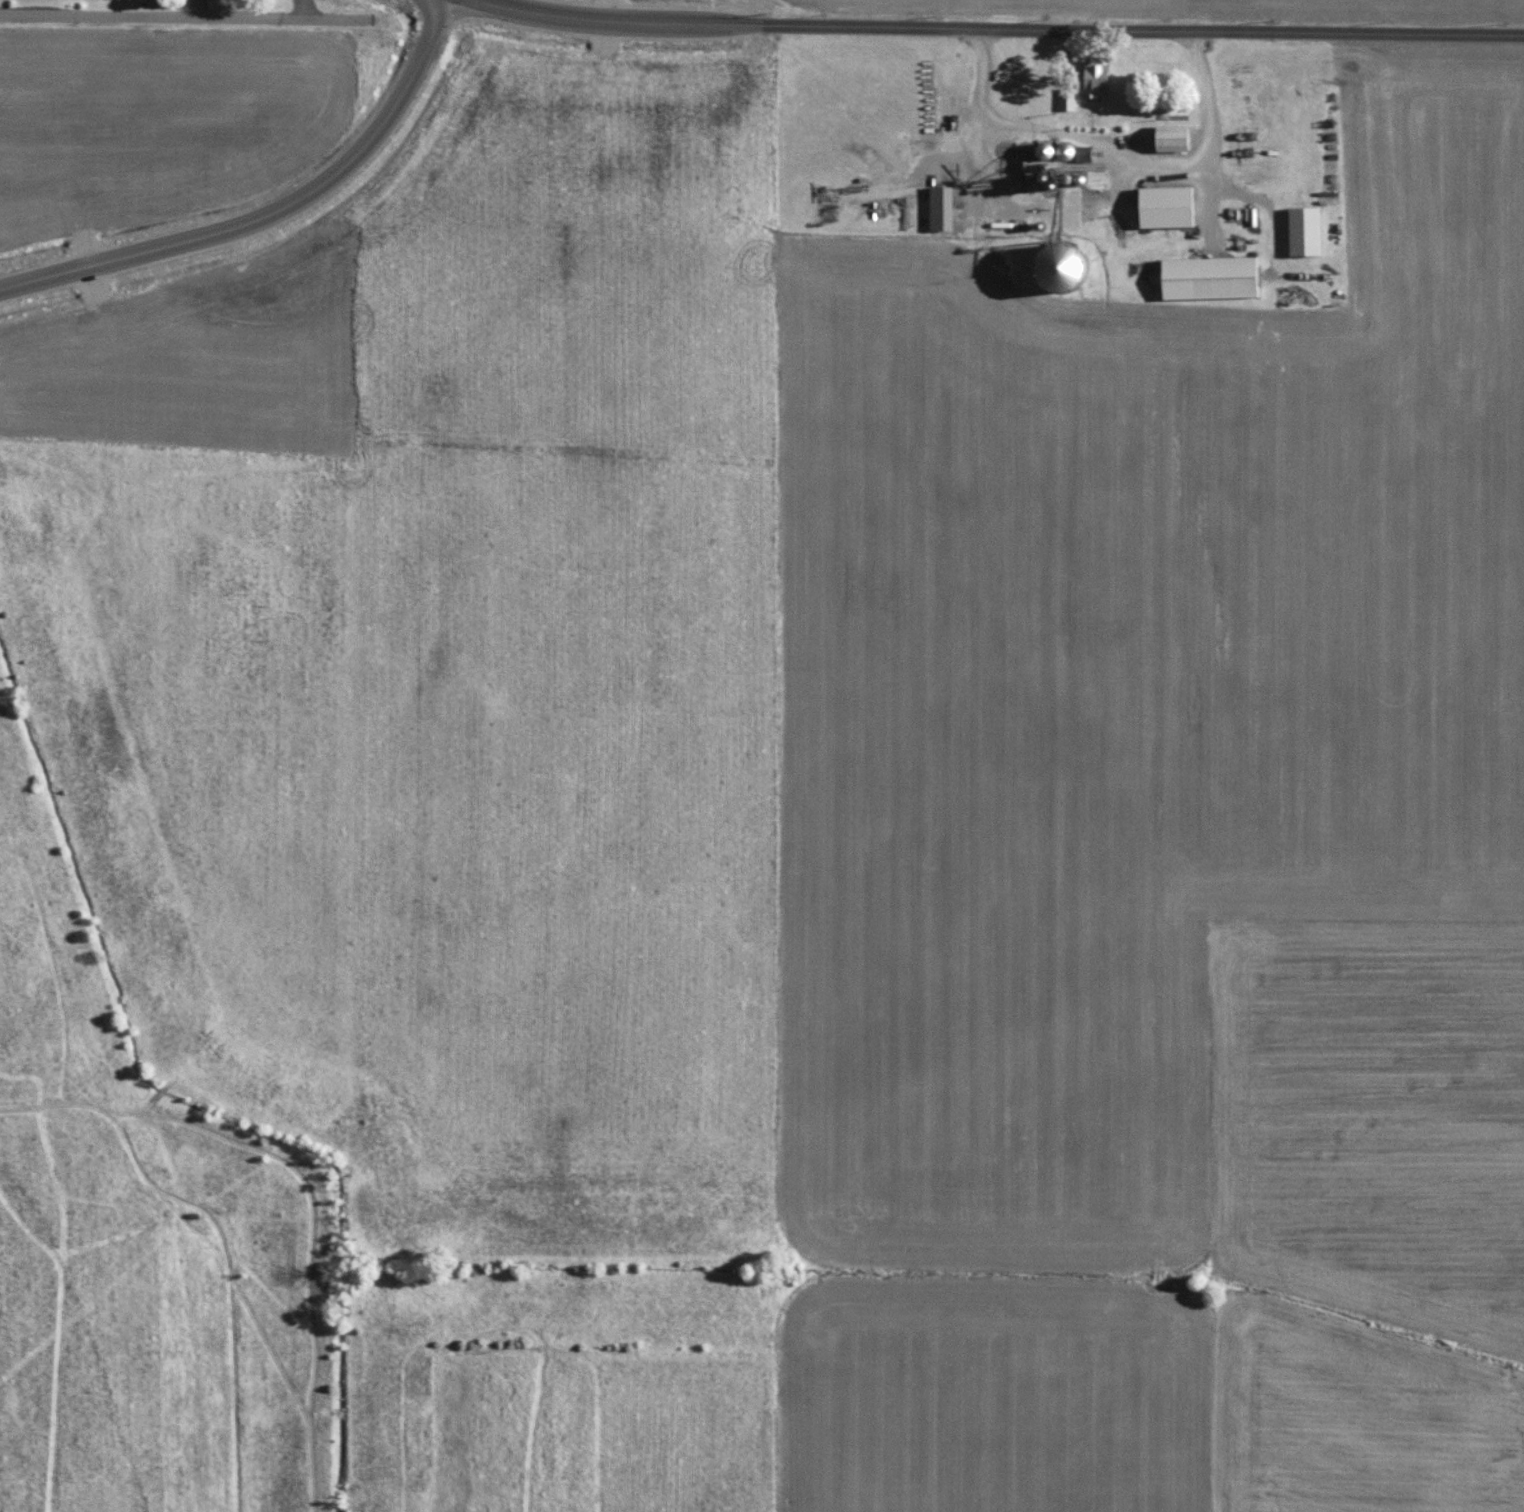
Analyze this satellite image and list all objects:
road: (210, 11)
road: (187, 19)
road: (996, 26)
building: (1097, 77)
building: (1067, 97)
building: (1173, 136)
road: (1112, 147)
building: (1084, 152)
building: (1167, 205)
building: (942, 206)
road: (287, 223)
building: (1305, 229)
building: (1062, 265)
building: (1211, 276)

